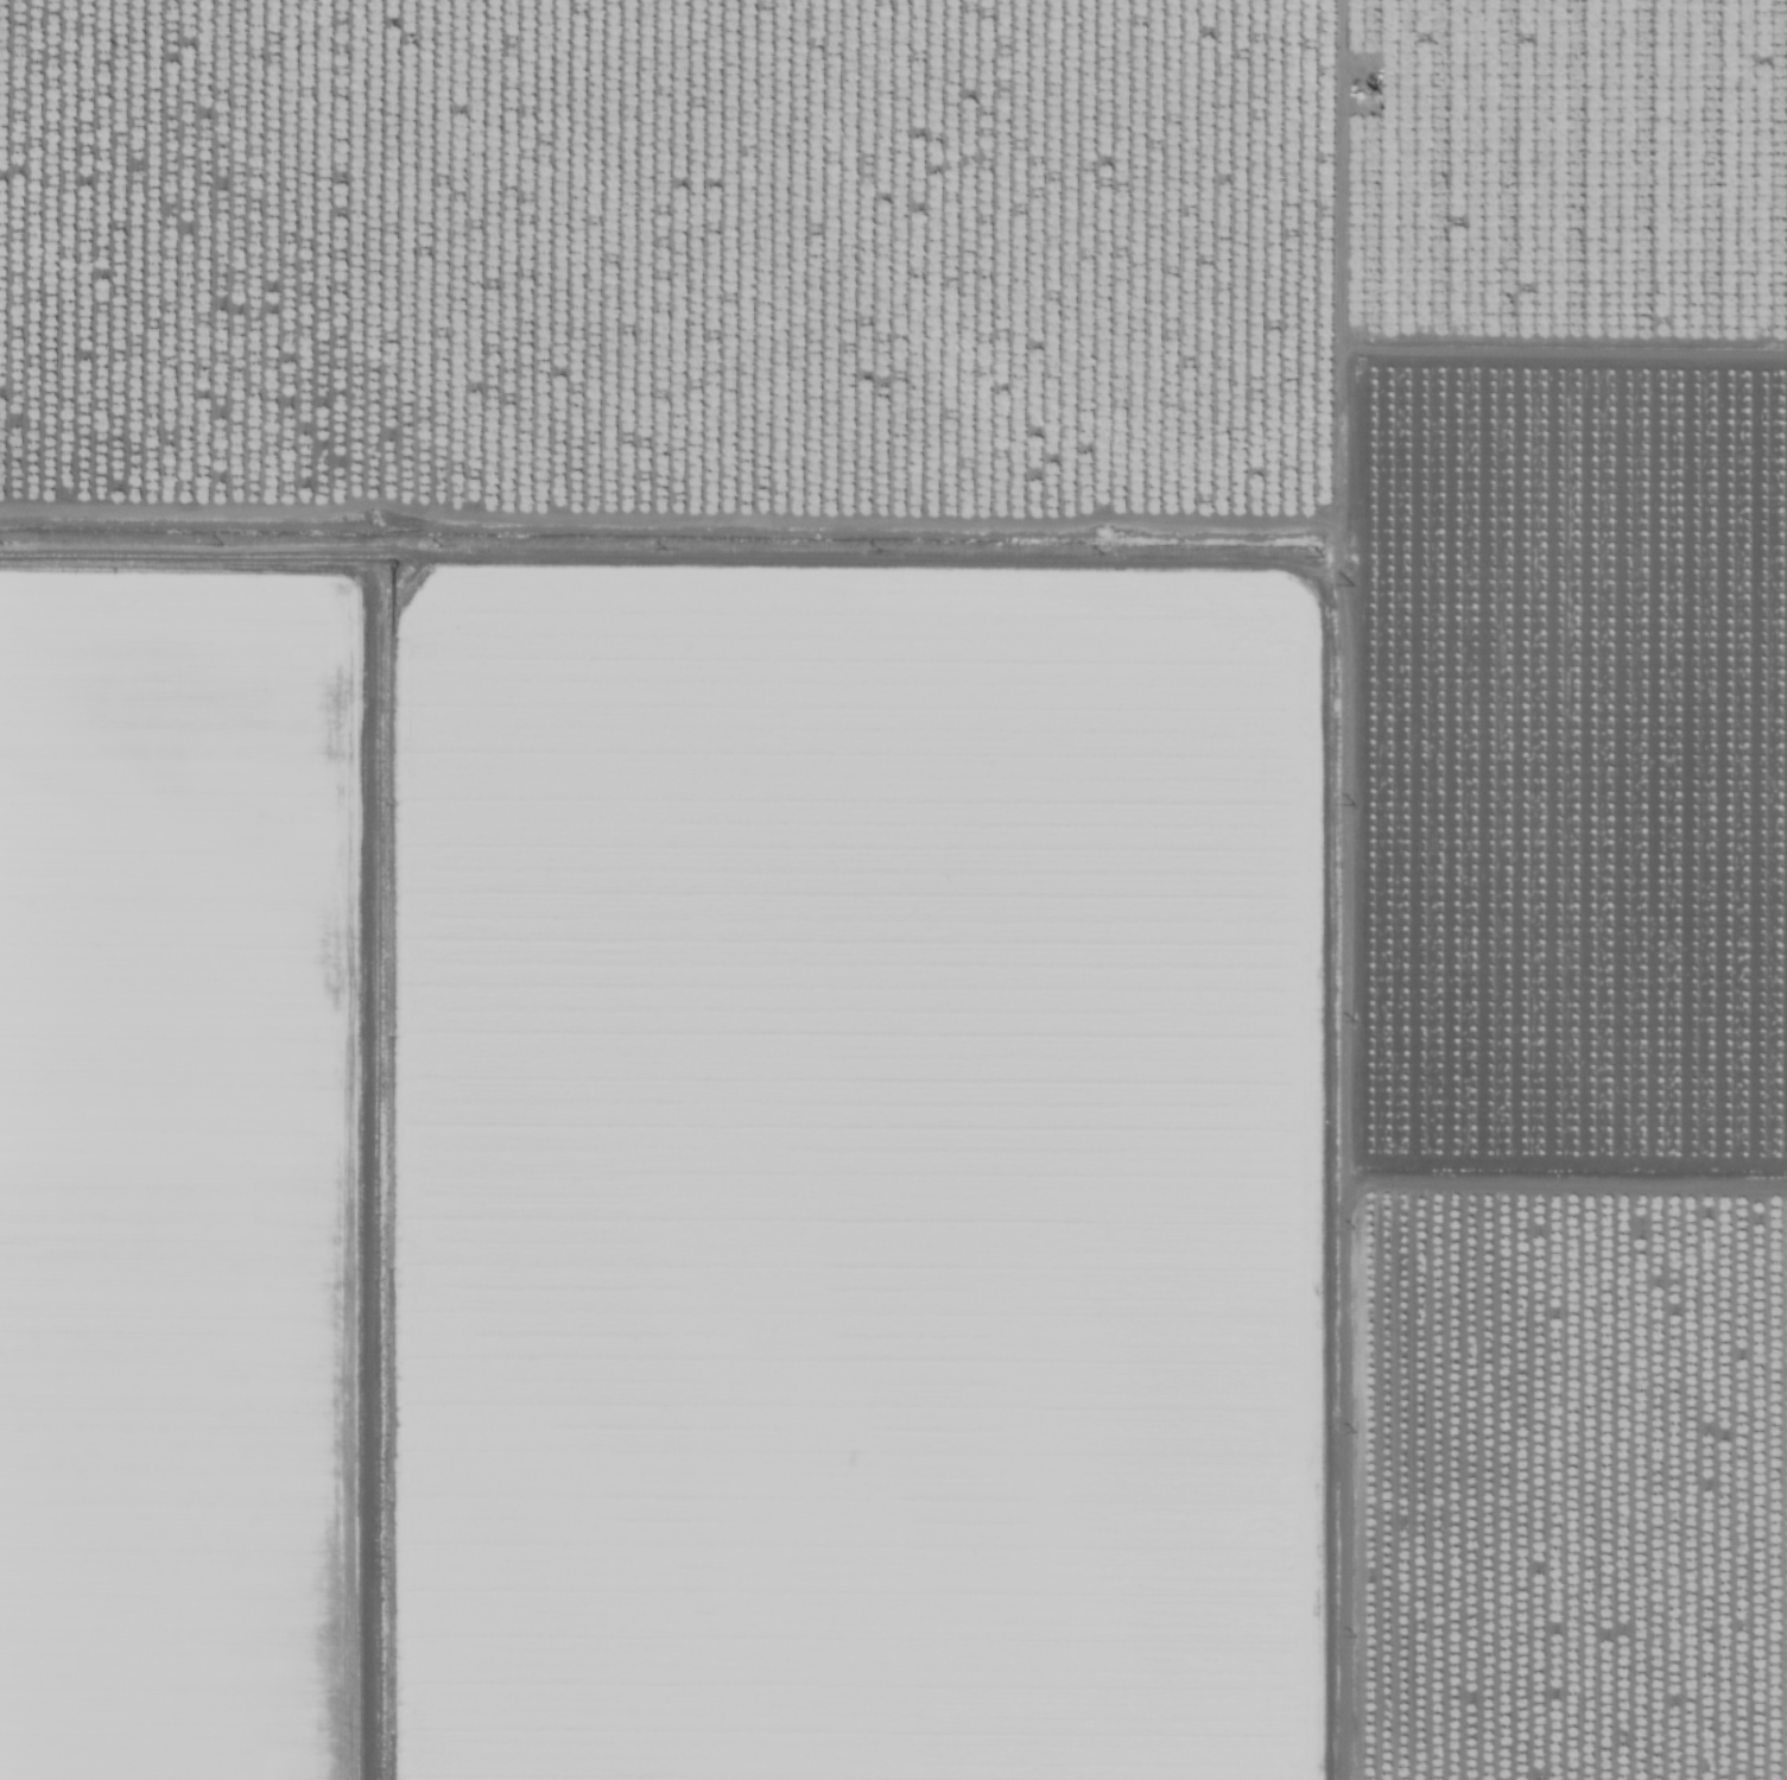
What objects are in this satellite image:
road: (1339, 215)
road: (990, 566)

